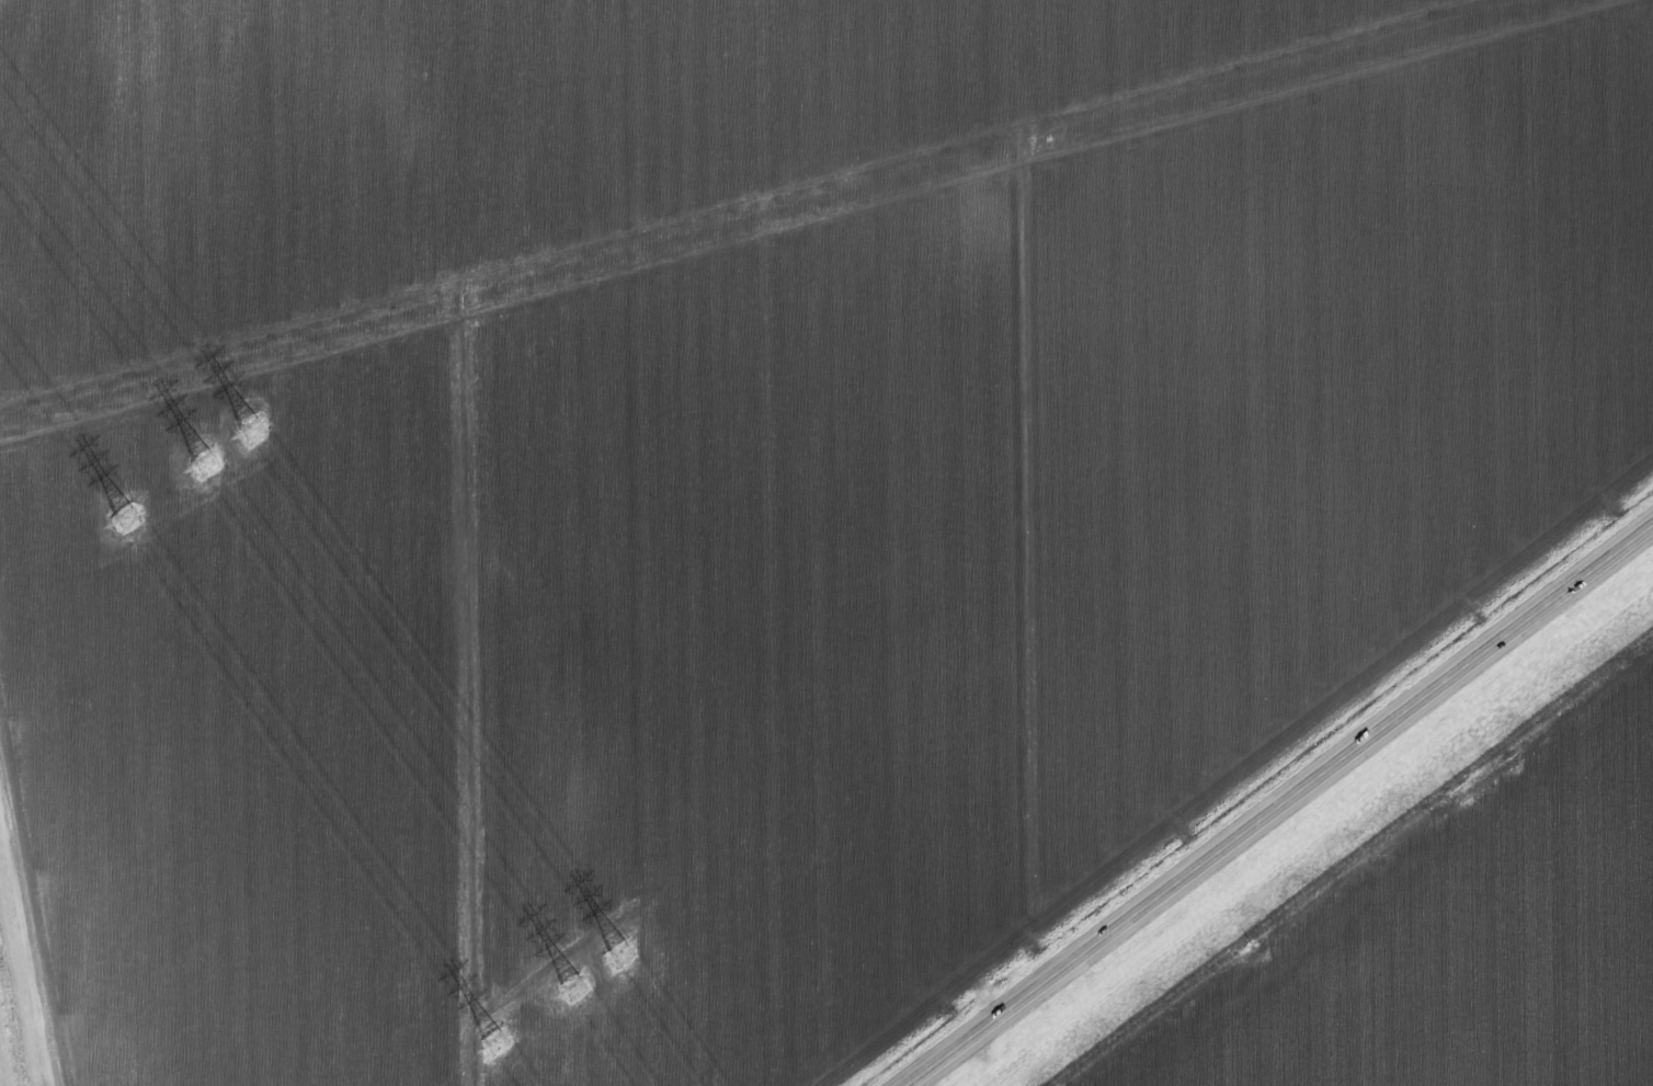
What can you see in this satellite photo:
power tower: (254, 431)
power tower: (207, 465)
power tower: (128, 521)
road: (1280, 805)
power tower: (624, 959)
power tower: (574, 990)
power tower: (495, 1045)

